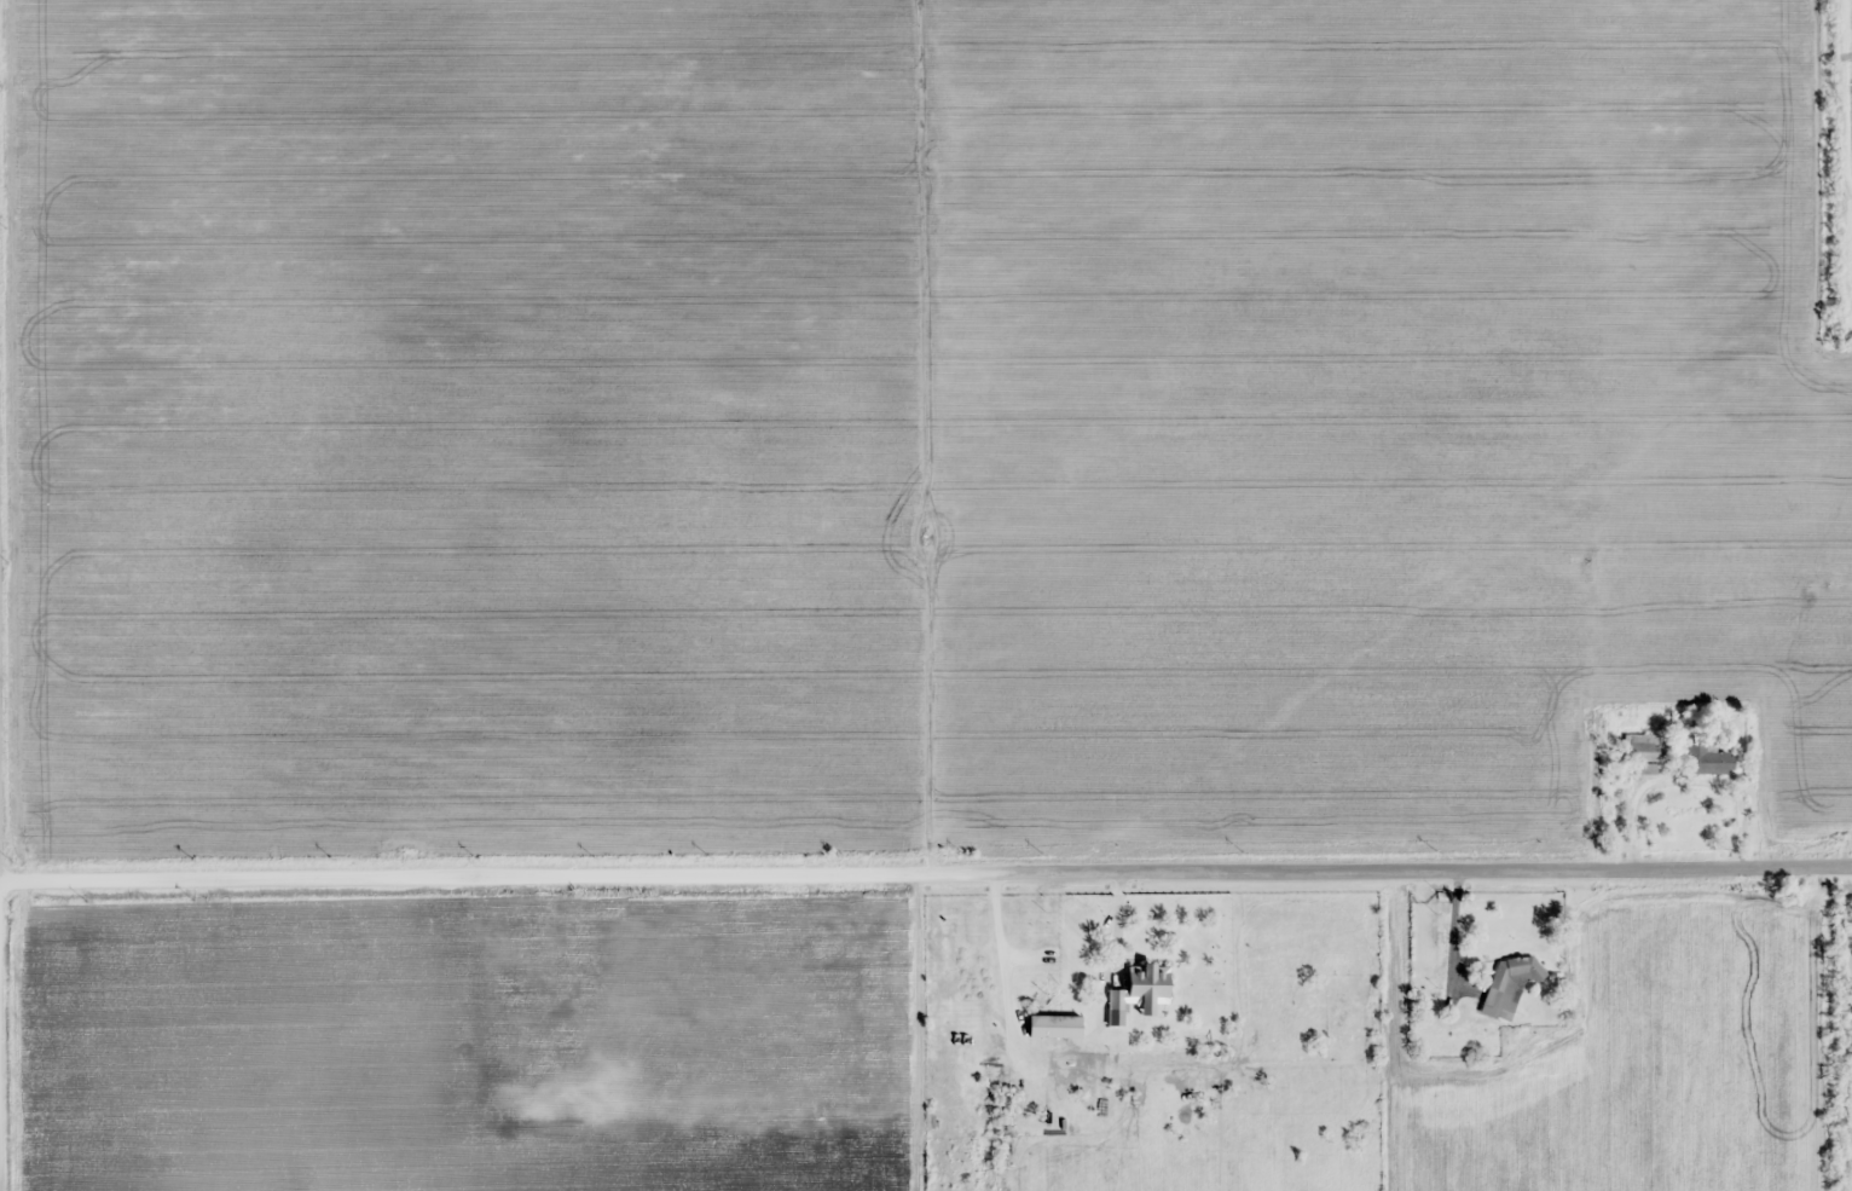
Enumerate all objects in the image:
building: (1643, 746)
building: (1706, 758)
road: (926, 866)
building: (1509, 983)
building: (1139, 987)
building: (1052, 1027)

